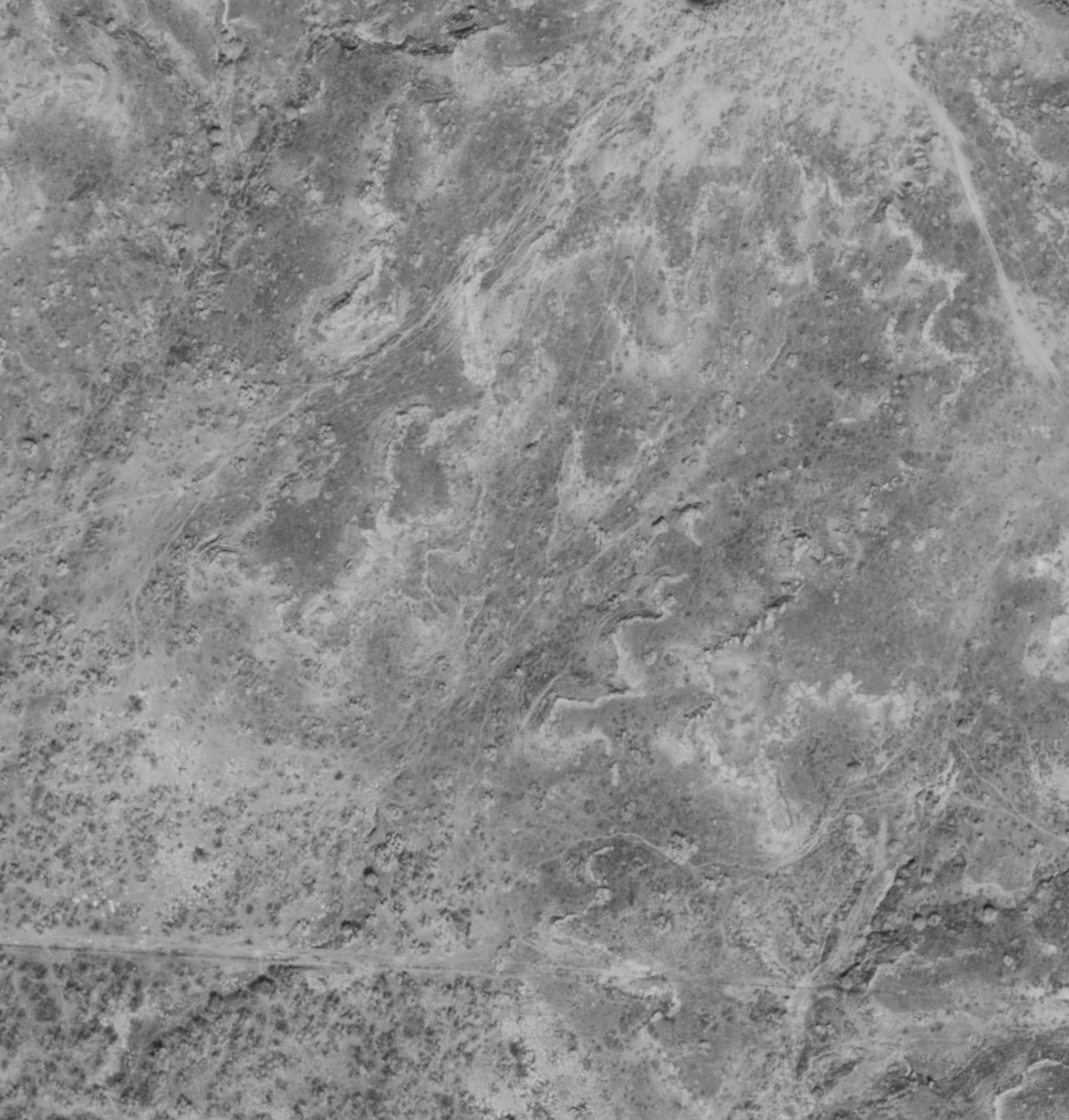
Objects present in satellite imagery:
road: (973, 183)

